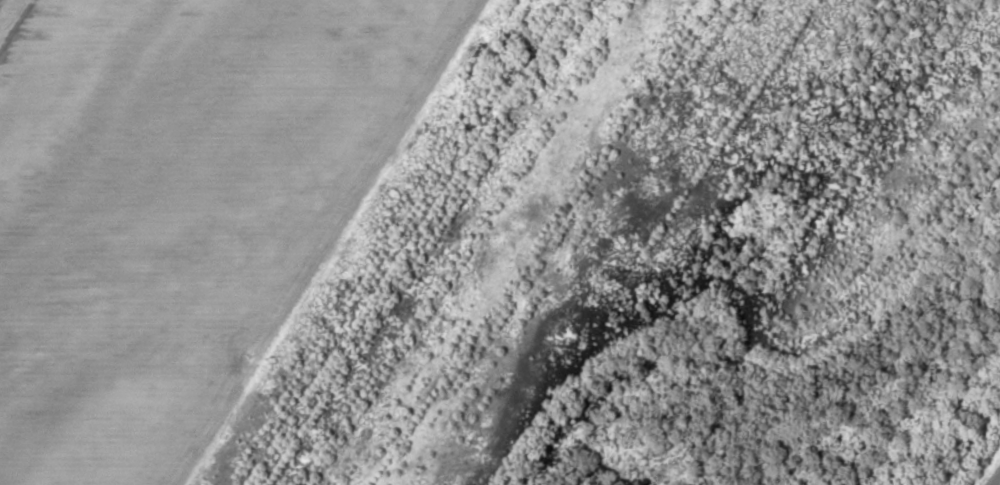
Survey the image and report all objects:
road: (996, 480)

